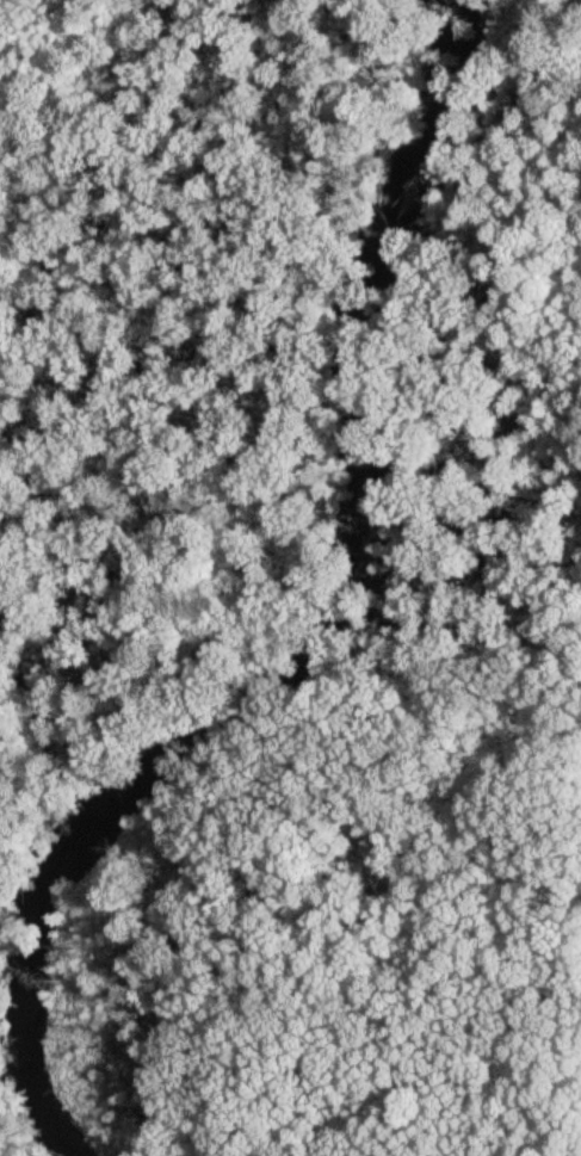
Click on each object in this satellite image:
river: (317, 629)

